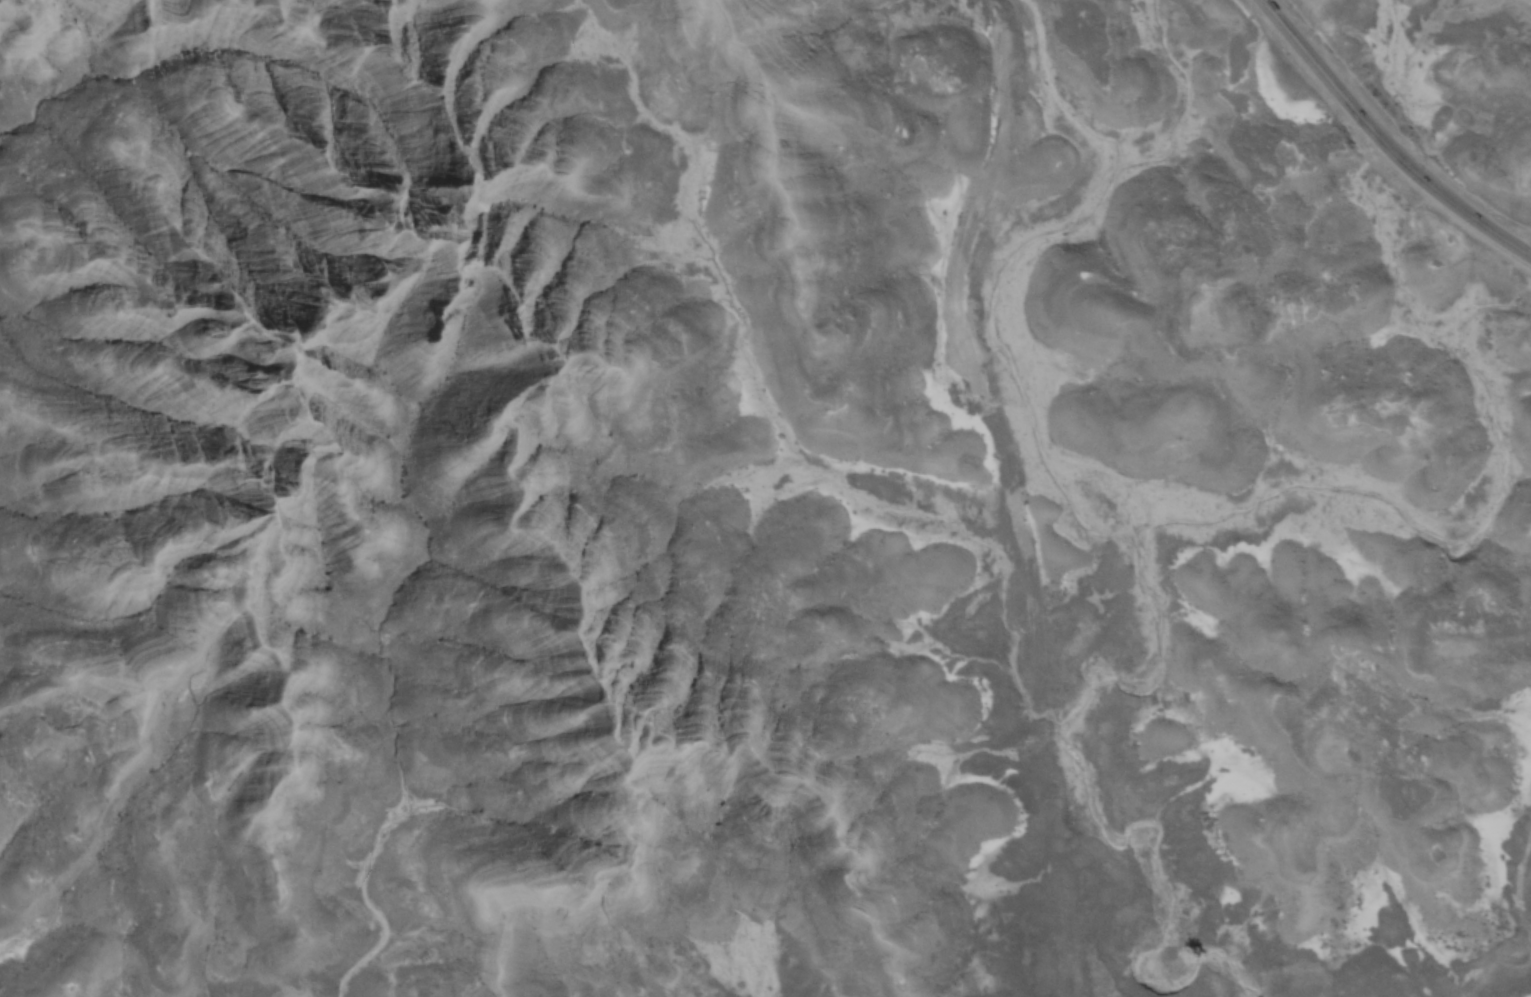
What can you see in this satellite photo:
road: (1390, 131)

